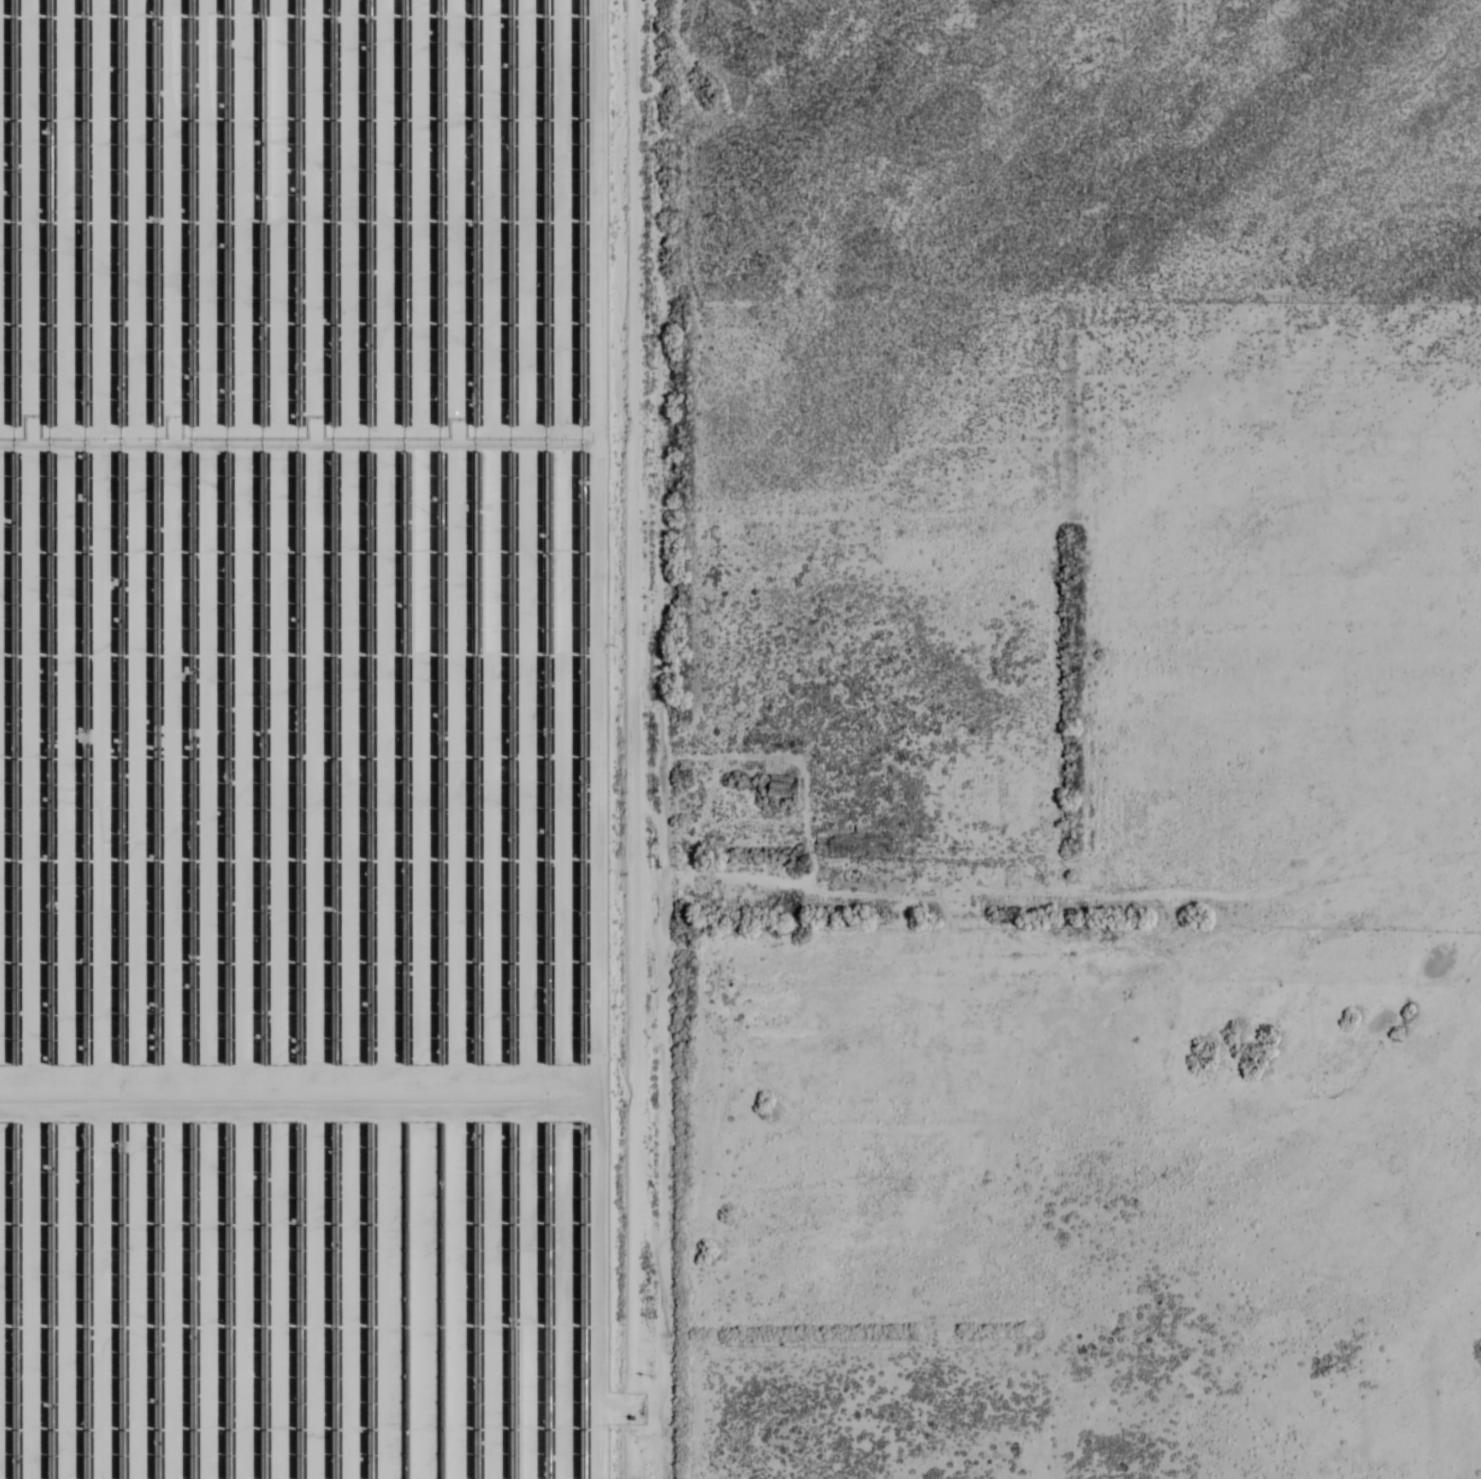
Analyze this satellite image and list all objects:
building: (169, 56)
building: (5, 57)
building: (0, 169)
building: (315, 552)
building: (286, 658)
road: (669, 739)
solar farm: (302, 740)
building: (0, 795)
road: (298, 1097)
building: (0, 1309)
building: (298, 1455)

